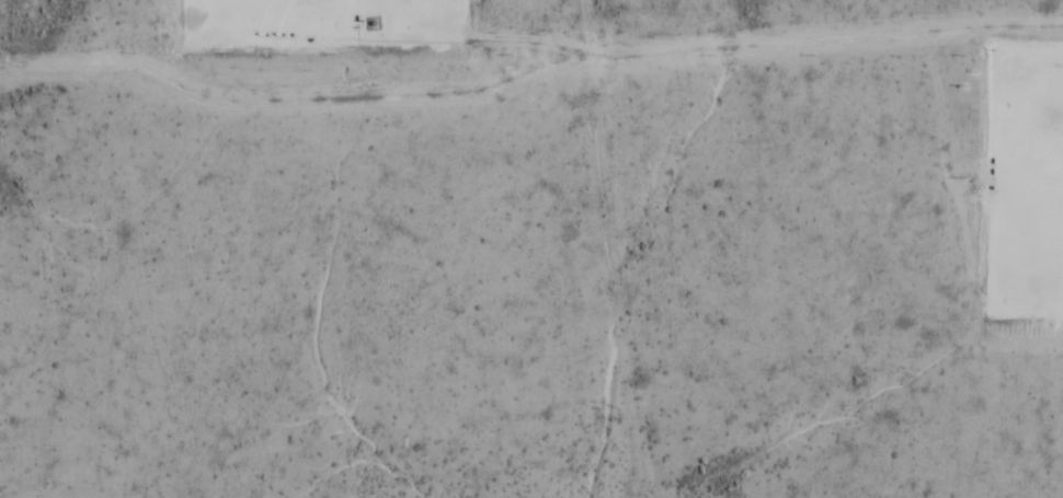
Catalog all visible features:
road: (1055, 241)

